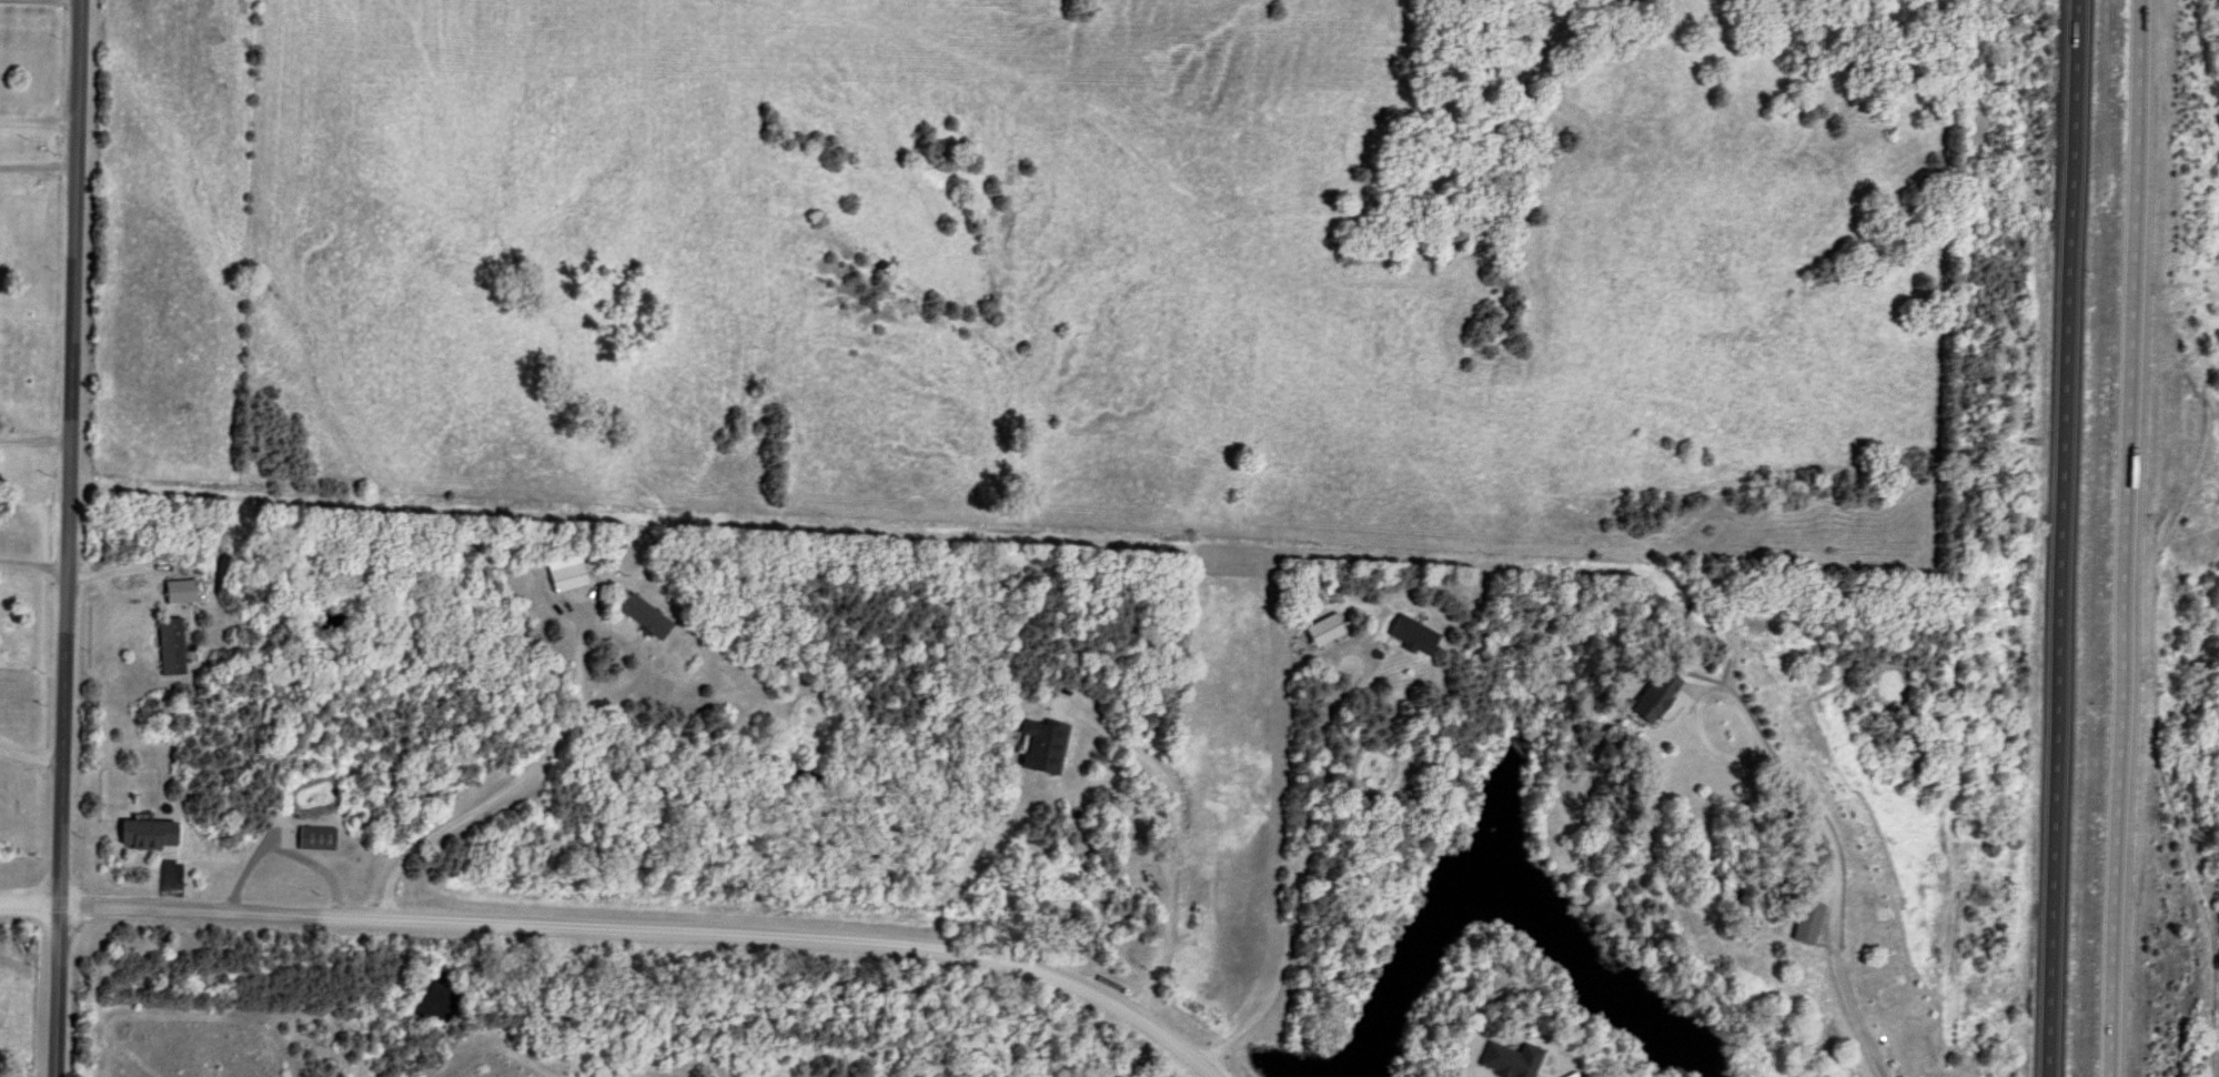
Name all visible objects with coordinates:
road: (38, 118)
road: (38, 168)
road: (34, 439)
road: (64, 538)
road: (2064, 538)
road: (2129, 538)
road: (32, 561)
building: (562, 576)
building: (175, 591)
park: (2202, 605)
building: (637, 613)
building: (1695, 613)
building: (1320, 628)
building: (1409, 633)
building: (168, 645)
building: (1648, 696)
road: (1692, 702)
road: (555, 736)
building: (1039, 745)
road: (29, 755)
road: (1303, 826)
road: (1171, 832)
building: (143, 834)
road: (27, 905)
road: (1829, 907)
building: (1803, 920)
road: (648, 933)

